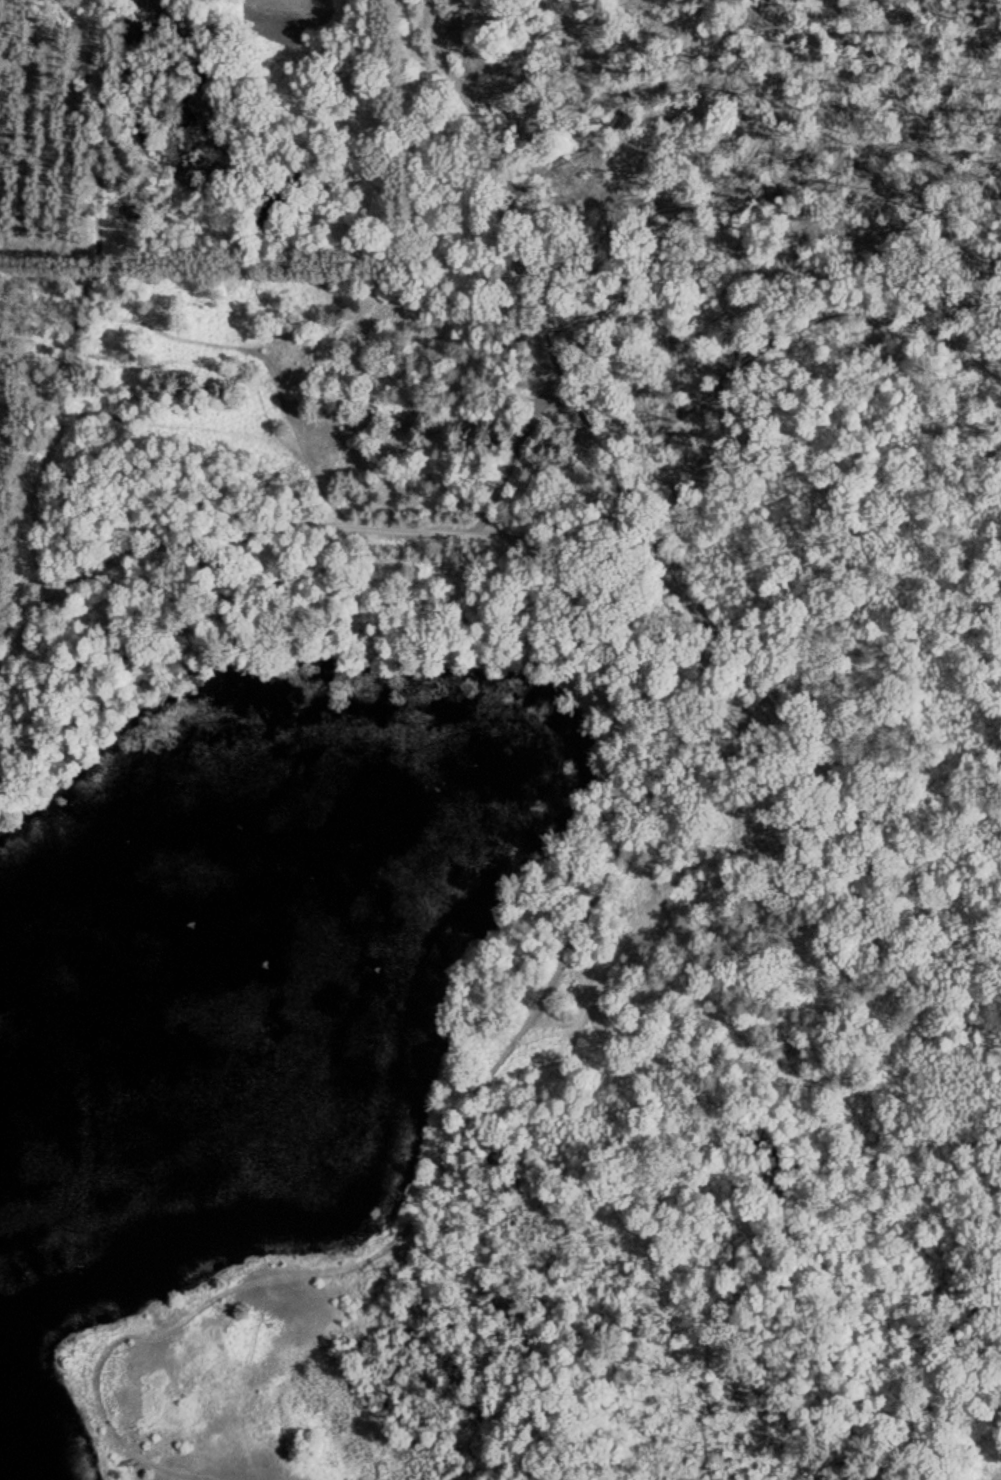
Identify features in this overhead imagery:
road: (256, 525)

